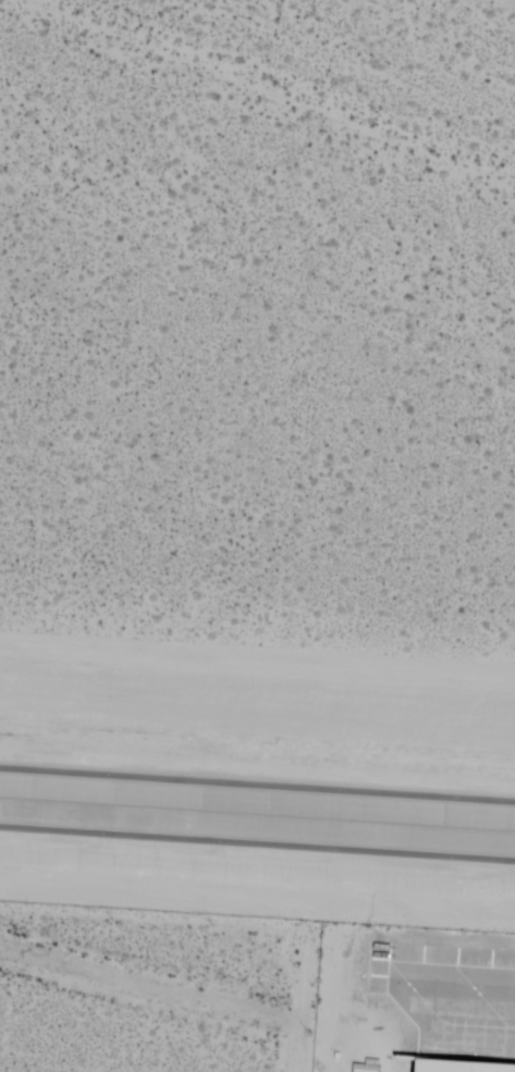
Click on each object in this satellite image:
airport: (257, 535)
airport taxiway: (257, 814)
airport hangar: (444, 1069)
building: (444, 1069)

